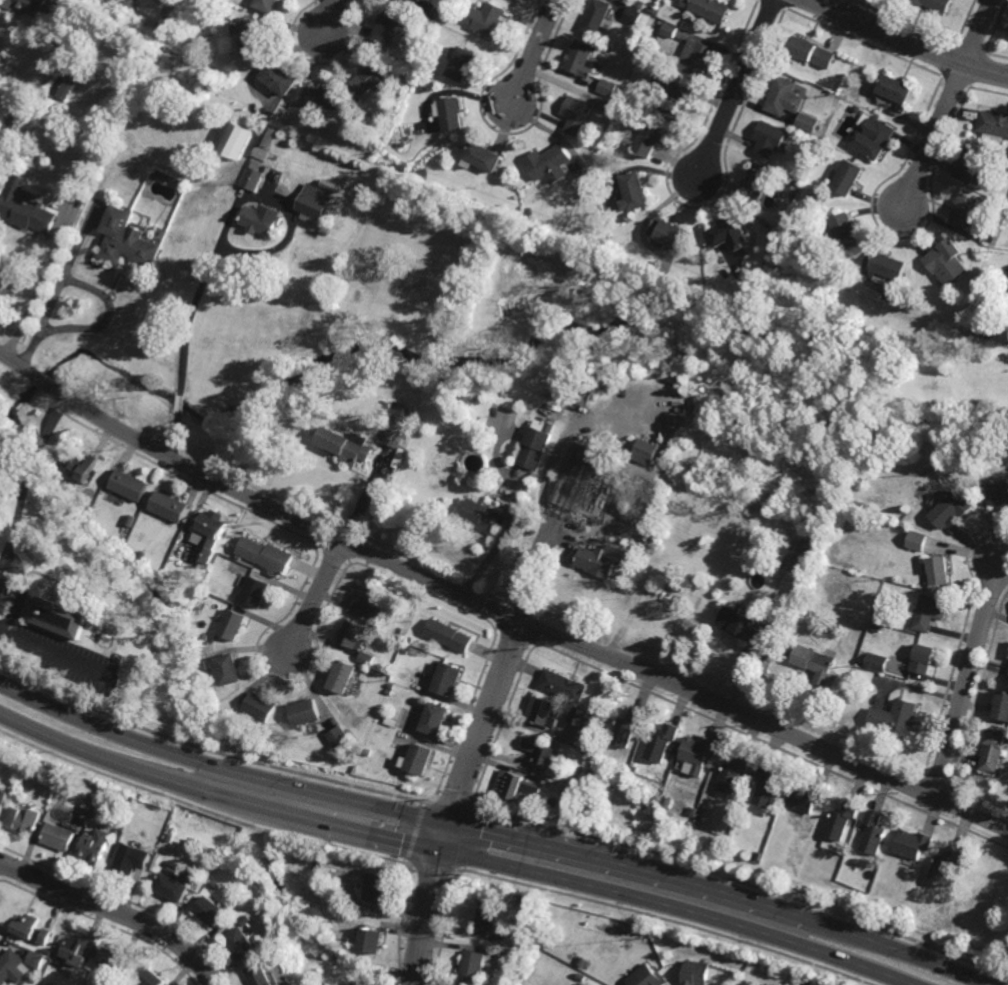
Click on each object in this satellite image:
building: (267, 4)
building: (935, 4)
building: (34, 7)
building: (708, 8)
building: (426, 9)
building: (651, 10)
building: (632, 15)
building: (596, 17)
road: (329, 19)
building: (488, 19)
road: (0, 20)
building: (451, 22)
building: (430, 24)
building: (388, 28)
building: (669, 29)
road: (980, 32)
building: (249, 36)
road: (909, 41)
building: (160, 47)
road: (533, 52)
building: (812, 53)
building: (580, 58)
building: (695, 59)
building: (461, 64)
building: (280, 77)
building: (663, 79)
building: (367, 80)
building: (63, 87)
building: (607, 88)
building: (895, 89)
road: (737, 90)
building: (619, 91)
road: (11, 97)
building: (783, 97)
building: (320, 98)
building: (675, 104)
building: (846, 104)
building: (605, 105)
building: (624, 109)
building: (857, 109)
building: (452, 115)
building: (575, 116)
building: (277, 119)
building: (807, 122)
building: (993, 124)
road: (936, 135)
building: (873, 137)
building: (648, 138)
building: (769, 139)
building: (236, 141)
building: (814, 141)
building: (288, 142)
building: (402, 145)
building: (483, 158)
building: (260, 160)
building: (550, 164)
building: (969, 166)
building: (318, 170)
building: (423, 174)
building: (849, 178)
building: (327, 183)
building: (797, 184)
building: (275, 185)
building: (756, 188)
building: (635, 193)
building: (316, 201)
building: (25, 206)
building: (964, 212)
building: (530, 213)
building: (260, 221)
building: (326, 230)
building: (727, 233)
building: (846, 233)
building: (668, 236)
building: (127, 241)
building: (942, 257)
building: (887, 267)
road: (58, 290)
road: (199, 293)
building: (739, 294)
building: (987, 333)
road: (180, 403)
building: (383, 406)
road: (57, 416)
building: (398, 424)
road: (172, 433)
building: (344, 444)
building: (534, 446)
building: (645, 450)
road: (39, 453)
building: (83, 466)
building: (576, 476)
building: (129, 484)
building: (997, 491)
building: (169, 505)
building: (860, 505)
building: (949, 506)
building: (481, 515)
building: (131, 519)
road: (18, 523)
building: (210, 532)
building: (913, 539)
building: (266, 555)
building: (602, 558)
building: (802, 558)
building: (224, 559)
building: (202, 566)
building: (935, 568)
building: (161, 584)
building: (253, 590)
building: (205, 594)
road: (317, 597)
building: (92, 598)
building: (367, 599)
road: (494, 608)
building: (928, 610)
building: (60, 616)
building: (878, 617)
building: (232, 624)
building: (742, 624)
building: (350, 633)
building: (447, 635)
building: (405, 650)
building: (1007, 655)
building: (365, 658)
building: (922, 659)
building: (879, 661)
building: (818, 667)
building: (227, 668)
building: (1007, 674)
building: (341, 676)
road: (967, 676)
building: (401, 677)
building: (446, 679)
building: (390, 685)
building: (563, 685)
building: (388, 691)
building: (1001, 705)
building: (260, 706)
building: (541, 711)
building: (304, 712)
building: (578, 716)
building: (897, 718)
building: (433, 719)
building: (390, 722)
building: (626, 727)
building: (1007, 732)
building: (338, 736)
building: (661, 743)
building: (991, 750)
building: (539, 751)
building: (698, 751)
building: (368, 752)
building: (340, 756)
building: (418, 759)
building: (733, 773)
building: (766, 786)
building: (515, 787)
building: (555, 789)
building: (564, 793)
building: (806, 797)
building: (2, 799)
road: (457, 799)
building: (666, 802)
building: (86, 805)
building: (24, 820)
building: (842, 821)
building: (874, 833)
road: (494, 834)
building: (58, 837)
building: (913, 844)
building: (149, 845)
building: (96, 846)
road: (456, 853)
building: (967, 853)
building: (757, 856)
building: (132, 860)
building: (945, 866)
building: (216, 884)
building: (173, 888)
building: (378, 889)
building: (521, 900)
road: (116, 910)
building: (212, 911)
building: (247, 919)
building: (487, 919)
building: (31, 930)
building: (52, 940)
building: (350, 940)
building: (371, 940)
building: (241, 943)
building: (77, 950)
building: (47, 952)
building: (503, 952)
building: (36, 959)
building: (115, 959)
building: (582, 963)
building: (473, 964)
building: (11, 966)
building: (695, 973)
building: (260, 974)
building: (154, 977)
building: (646, 977)
building: (748, 983)
building: (43, 984)

